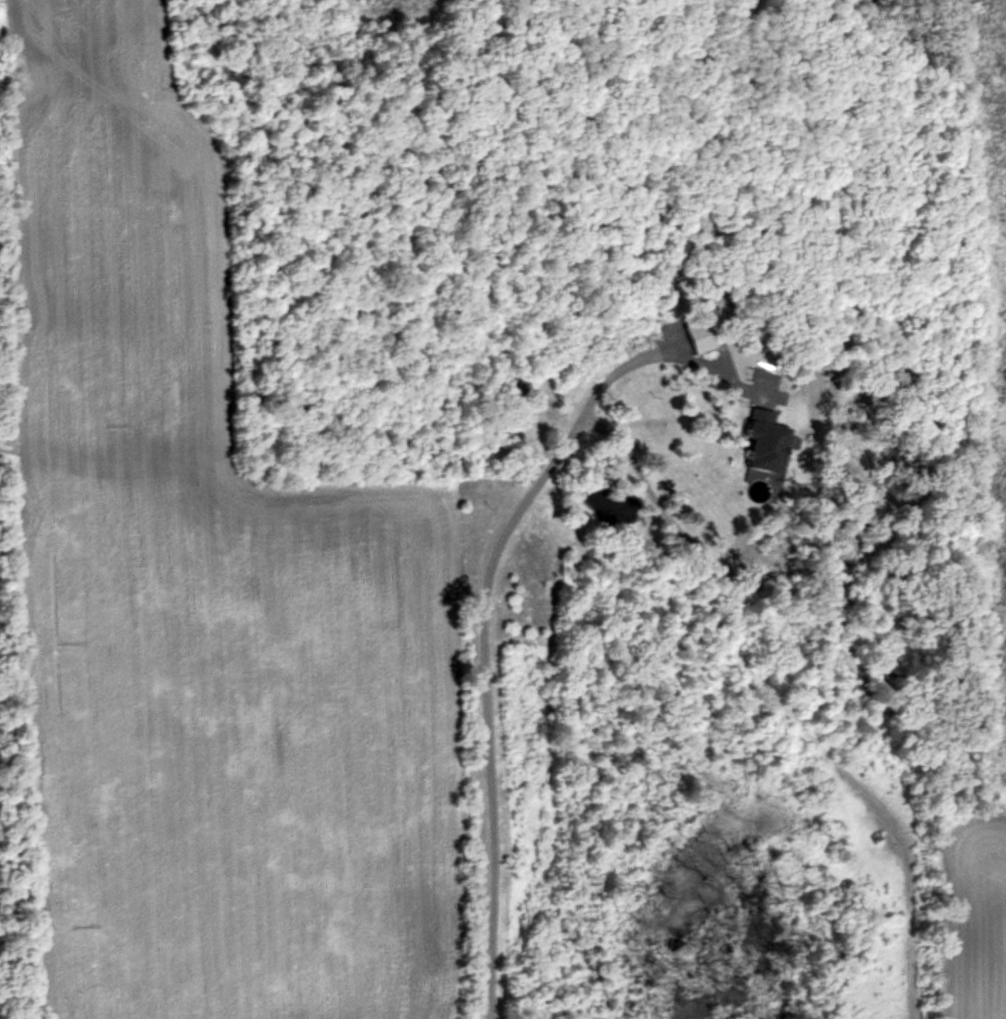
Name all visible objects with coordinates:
building: (702, 334)
building: (767, 442)
road: (620, 446)

